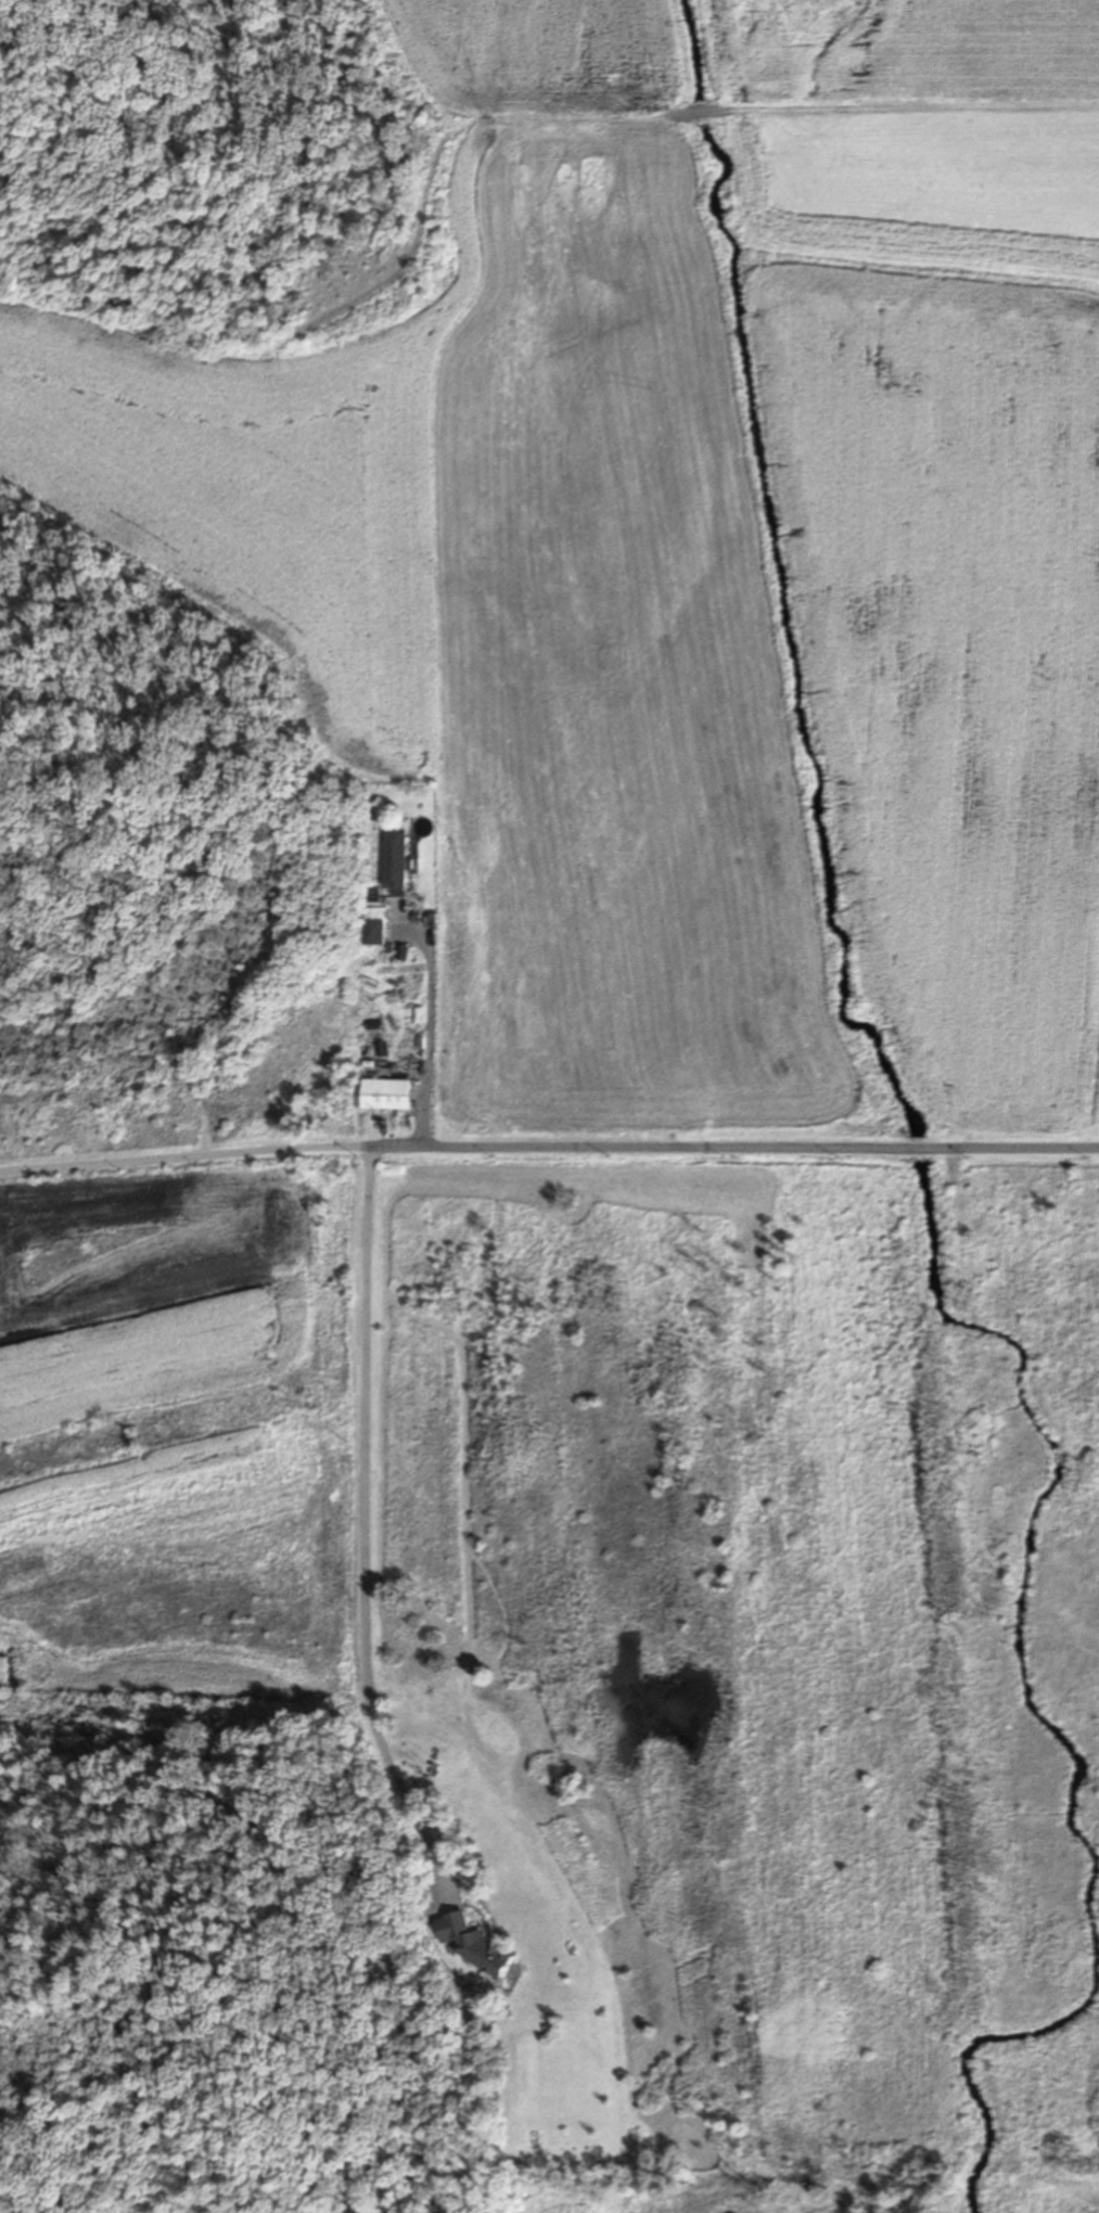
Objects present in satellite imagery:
building: (373, 806)
building: (396, 857)
building: (374, 899)
building: (373, 926)
road: (429, 1035)
building: (387, 1093)
road: (549, 1149)
road: (366, 1527)
building: (473, 1942)

